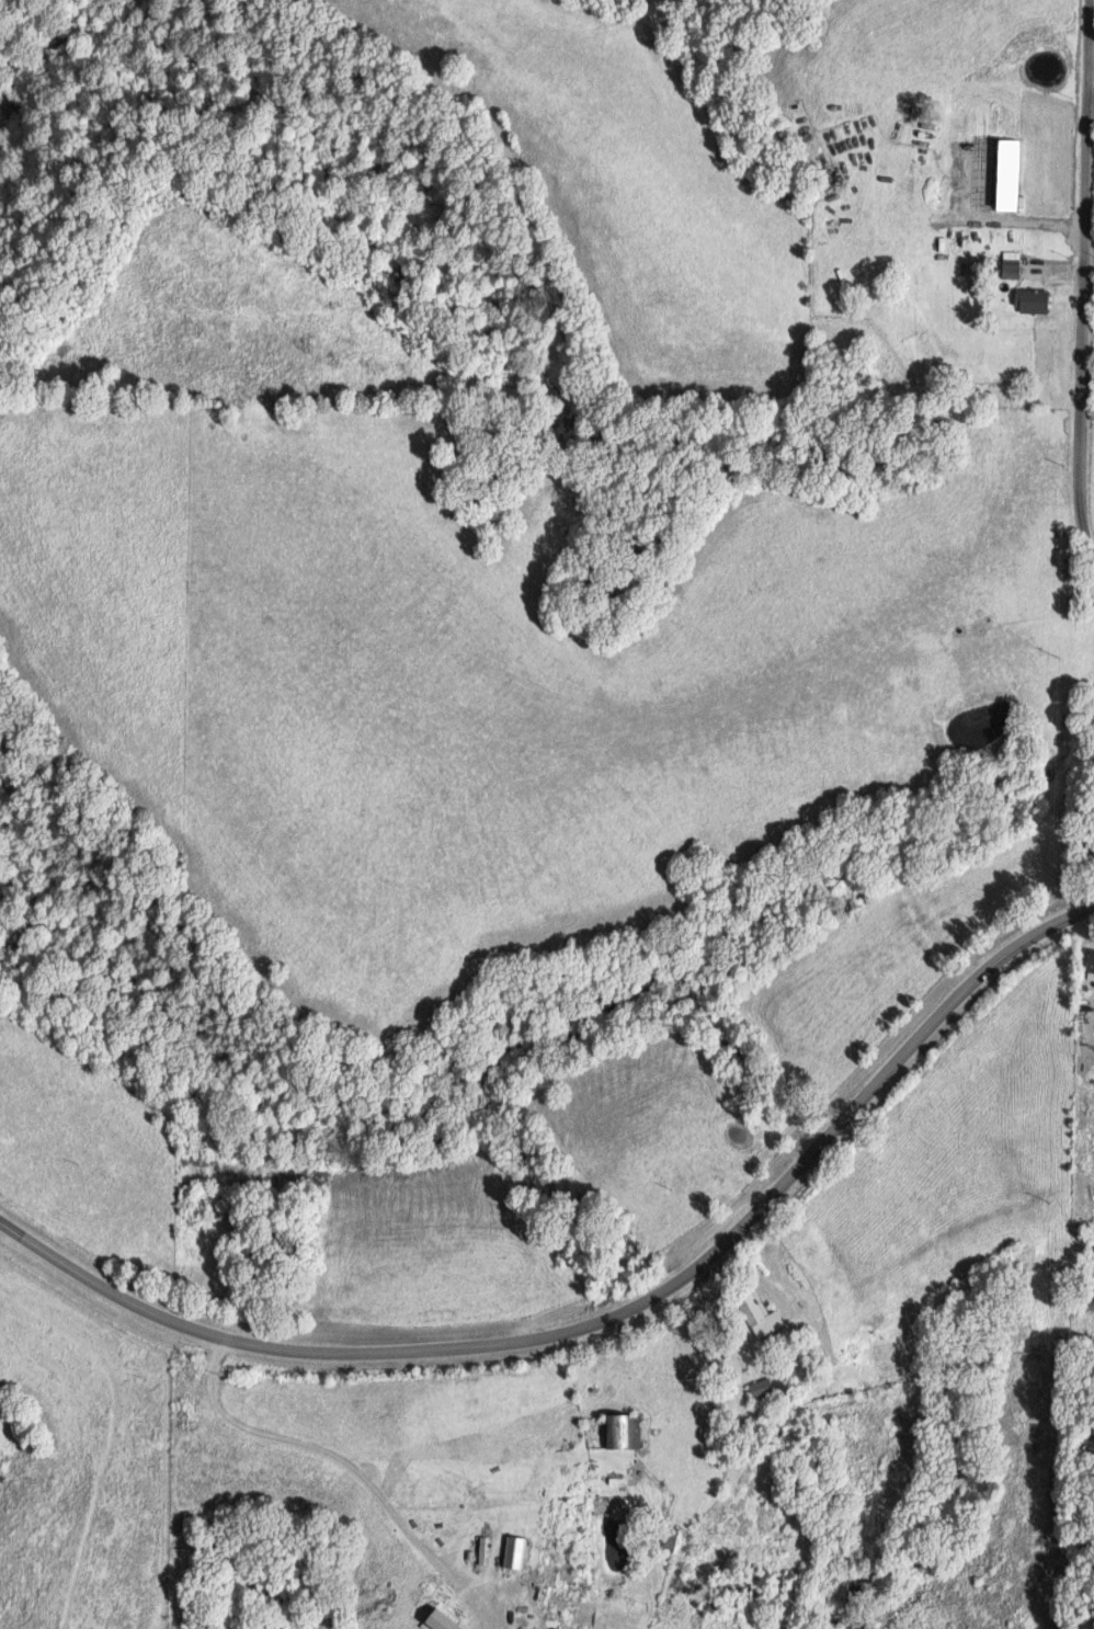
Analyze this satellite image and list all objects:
road: (1090, 91)
building: (1013, 264)
road: (1051, 269)
road: (1080, 283)
building: (1035, 300)
road: (755, 1267)
road: (609, 1313)
building: (765, 1317)
road: (578, 1365)
building: (762, 1388)
building: (622, 1433)
road: (341, 1459)
building: (515, 1552)

